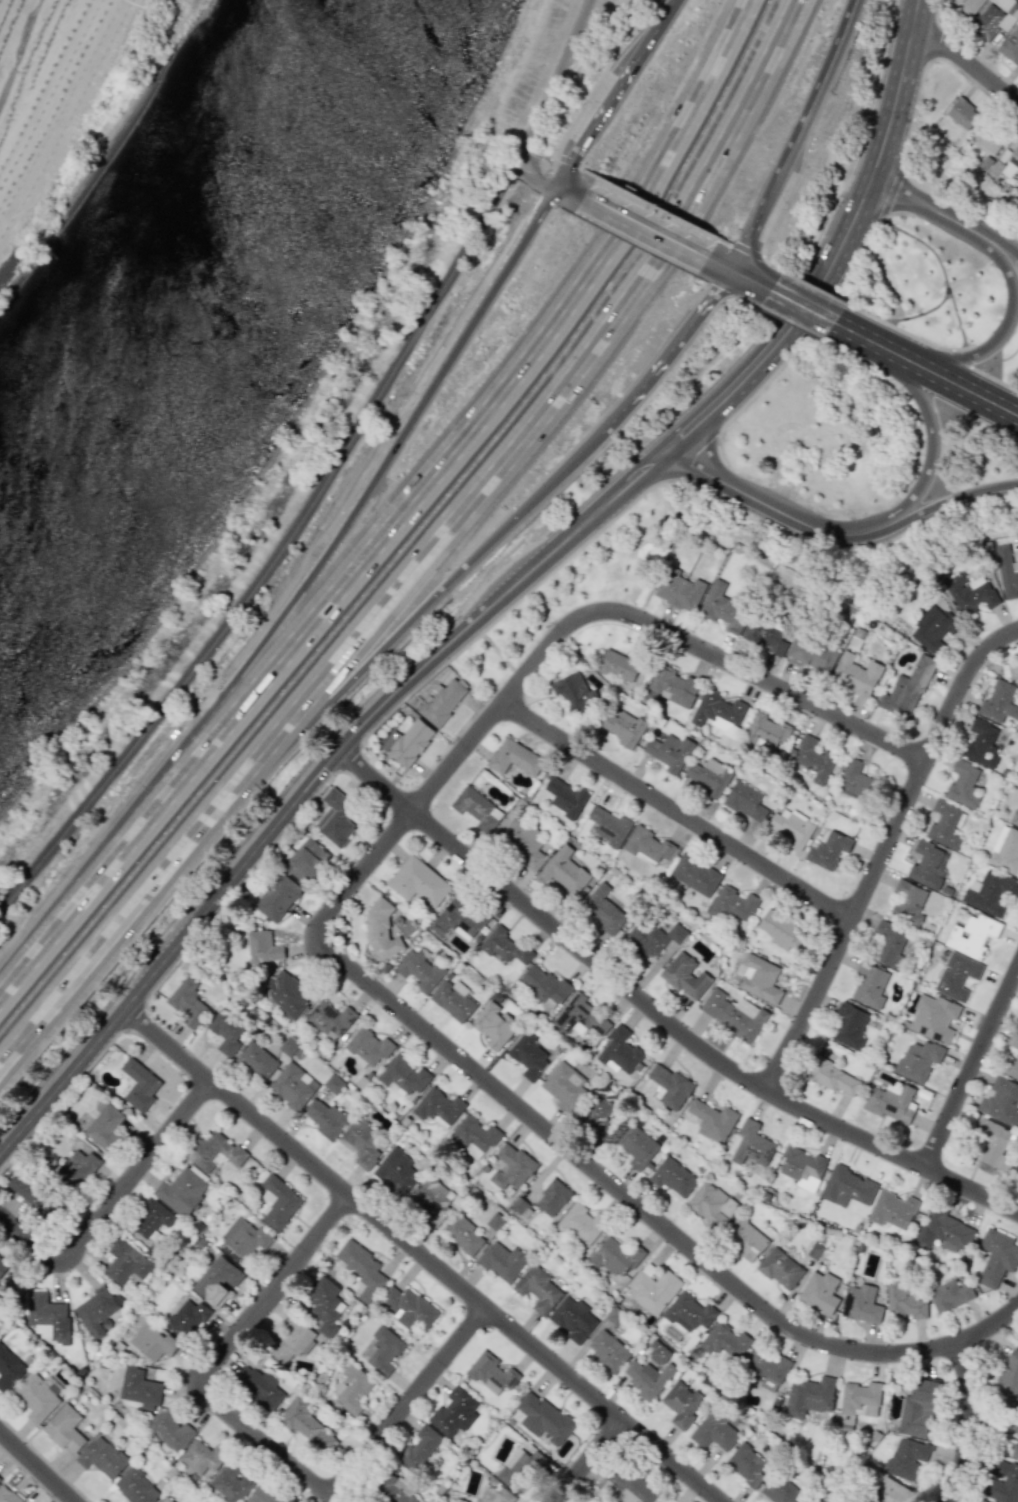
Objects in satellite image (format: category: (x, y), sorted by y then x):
building: (958, 1)
building: (970, 6)
building: (995, 18)
building: (1010, 45)
road: (964, 61)
road: (617, 92)
road: (891, 109)
building: (963, 113)
road: (795, 137)
building: (989, 139)
building: (1005, 160)
road: (533, 174)
road: (569, 188)
road: (889, 194)
road: (926, 206)
road: (645, 225)
road: (1002, 238)
road: (935, 256)
road: (719, 264)
road: (497, 276)
road: (750, 280)
road: (801, 305)
road: (916, 314)
river: (192, 318)
road: (888, 323)
road: (998, 335)
road: (864, 336)
road: (668, 353)
road: (959, 356)
road: (1000, 358)
road: (993, 377)
road: (956, 383)
road: (520, 435)
street lamp: (720, 437)
road: (932, 440)
road: (329, 475)
road: (951, 497)
road: (772, 506)
road: (400, 517)
building: (1007, 572)
building: (679, 591)
building: (970, 593)
road: (292, 597)
building: (722, 604)
building: (932, 630)
road: (564, 632)
road: (397, 634)
building: (765, 635)
building: (810, 653)
building: (622, 665)
building: (1010, 671)
road: (420, 673)
building: (855, 675)
building: (672, 686)
building: (907, 689)
building: (574, 692)
building: (443, 701)
building: (999, 702)
building: (716, 711)
building: (623, 727)
building: (768, 730)
building: (409, 741)
building: (981, 743)
building: (669, 752)
building: (515, 758)
building: (812, 761)
building: (709, 777)
building: (855, 782)
building: (963, 783)
building: (565, 797)
building: (745, 802)
building: (477, 809)
road: (678, 811)
building: (335, 818)
building: (1015, 818)
building: (945, 825)
building: (609, 826)
building: (791, 827)
building: (524, 844)
building: (647, 846)
building: (828, 850)
building: (1005, 850)
road: (883, 851)
building: (307, 862)
building: (926, 865)
building: (565, 870)
building: (695, 875)
building: (418, 882)
building: (990, 893)
building: (276, 897)
building: (908, 903)
building: (732, 904)
building: (604, 909)
building: (460, 919)
building: (380, 928)
building: (784, 930)
building: (972, 934)
building: (652, 937)
building: (503, 946)
building: (263, 947)
road: (95, 948)
building: (420, 970)
building: (685, 976)
building: (957, 976)
building: (759, 977)
building: (870, 985)
building: (545, 986)
building: (287, 994)
building: (453, 1000)
building: (188, 1002)
road: (658, 1010)
building: (734, 1014)
building: (580, 1017)
building: (934, 1018)
building: (331, 1019)
building: (494, 1025)
building: (849, 1026)
building: (228, 1032)
building: (1014, 1041)
building: (369, 1047)
building: (619, 1052)
building: (528, 1055)
building: (257, 1061)
building: (918, 1061)
building: (1010, 1067)
road: (972, 1069)
building: (404, 1077)
building: (833, 1077)
building: (334, 1084)
building: (139, 1085)
building: (293, 1085)
building: (669, 1086)
building: (564, 1087)
building: (1001, 1101)
building: (890, 1102)
building: (439, 1108)
building: (598, 1116)
building: (327, 1119)
building: (713, 1120)
building: (105, 1126)
building: (475, 1136)
building: (752, 1144)
building: (994, 1144)
building: (638, 1147)
building: (214, 1152)
building: (512, 1167)
building: (77, 1168)
building: (802, 1168)
building: (397, 1171)
building: (1016, 1171)
building: (672, 1177)
building: (848, 1187)
building: (181, 1191)
building: (33, 1193)
building: (552, 1198)
building: (432, 1199)
road: (111, 1201)
building: (278, 1202)
building: (708, 1204)
building: (893, 1210)
road: (644, 1213)
building: (151, 1219)
building: (579, 1223)
building: (944, 1231)
building: (463, 1234)
building: (745, 1238)
building: (243, 1240)
road: (422, 1253)
building: (616, 1257)
building: (996, 1257)
building: (125, 1262)
building: (503, 1262)
building: (3, 1265)
building: (362, 1268)
building: (780, 1269)
building: (218, 1281)
road: (274, 1288)
building: (538, 1289)
building: (654, 1289)
building: (820, 1292)
building: (950, 1295)
building: (904, 1301)
building: (862, 1304)
building: (325, 1305)
building: (409, 1308)
building: (97, 1310)
building: (689, 1312)
building: (46, 1317)
building: (186, 1319)
building: (573, 1319)
building: (152, 1341)
building: (725, 1342)
building: (608, 1350)
building: (383, 1351)
building: (658, 1352)
building: (9, 1368)
building: (767, 1370)
building: (491, 1373)
building: (647, 1378)
building: (1008, 1379)
building: (259, 1387)
building: (352, 1388)
building: (140, 1389)
building: (810, 1396)
building: (36, 1398)
road: (409, 1401)
building: (857, 1403)
building: (683, 1404)
building: (919, 1408)
building: (454, 1412)
building: (543, 1418)
building: (307, 1424)
road: (964, 1425)
building: (64, 1429)
building: (169, 1429)
building: (715, 1430)
building: (1013, 1438)
road: (269, 1442)
building: (420, 1447)
building: (102, 1457)
building: (201, 1457)
building: (906, 1458)
road: (584, 1459)
building: (747, 1462)
road: (37, 1466)
building: (517, 1470)
building: (0, 1479)
building: (1003, 1481)
building: (230, 1485)
building: (136, 1486)
building: (628, 1486)
building: (782, 1490)
building: (892, 1491)
building: (394, 1493)
building: (8, 1495)
building: (262, 1495)
building: (492, 1495)
building: (165, 1500)
building: (815, 1500)
building: (981, 1500)

